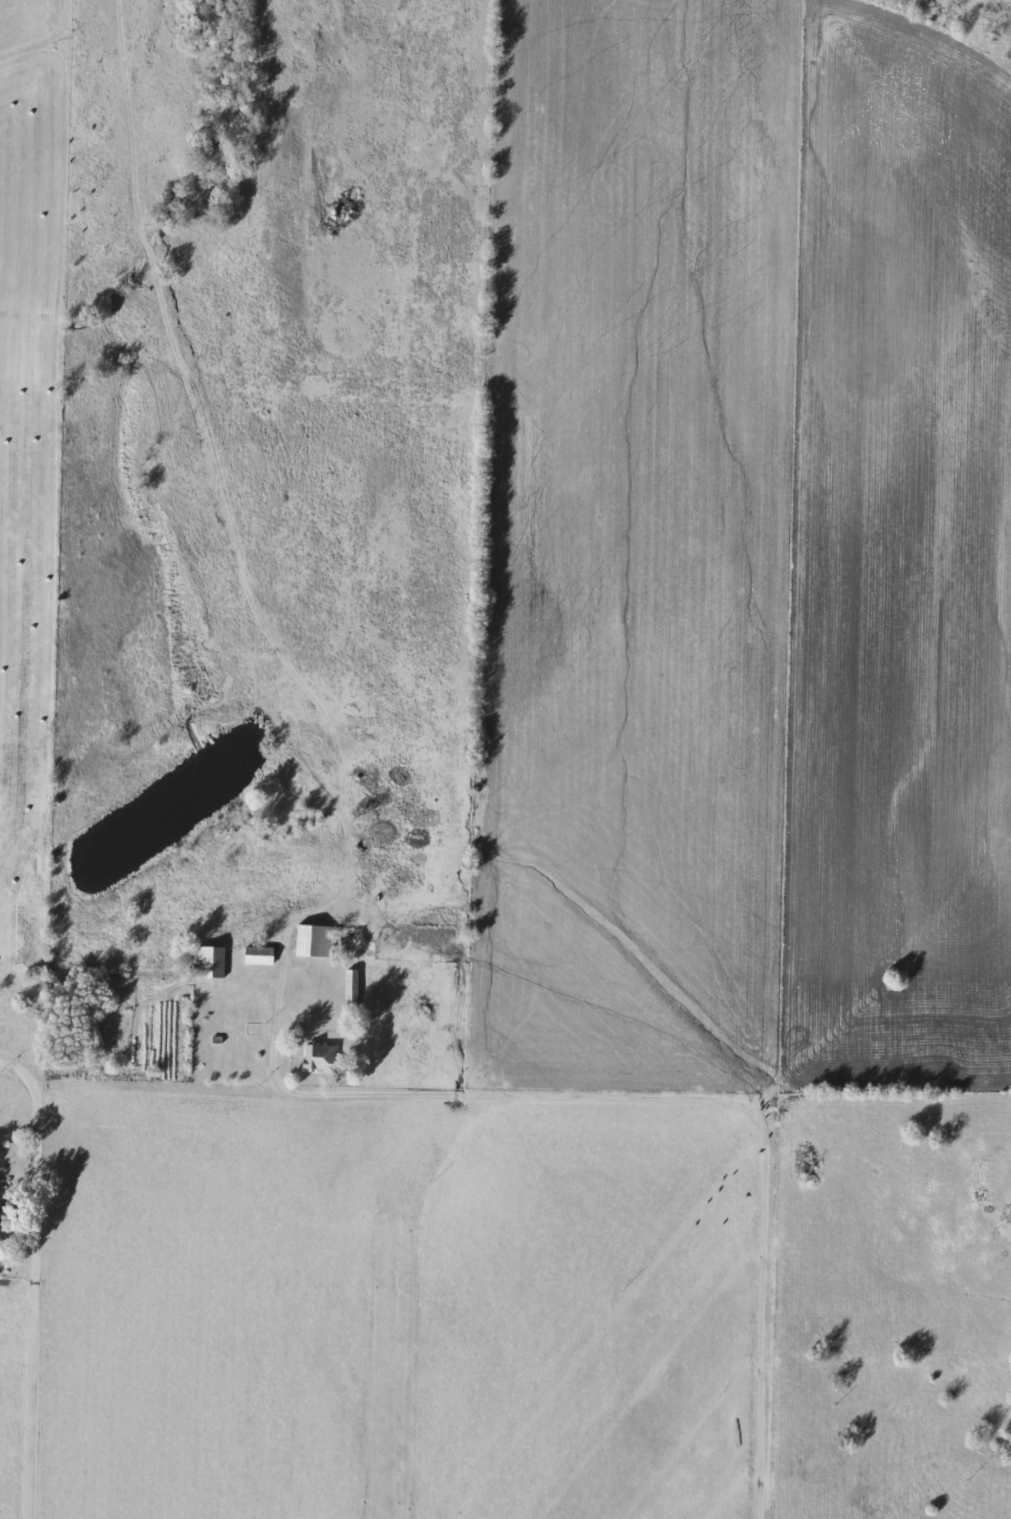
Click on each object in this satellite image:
building: (314, 941)
road: (281, 949)
building: (260, 956)
building: (211, 963)
building: (321, 1059)
road: (22, 1078)
building: (2, 1212)
road: (30, 1311)

